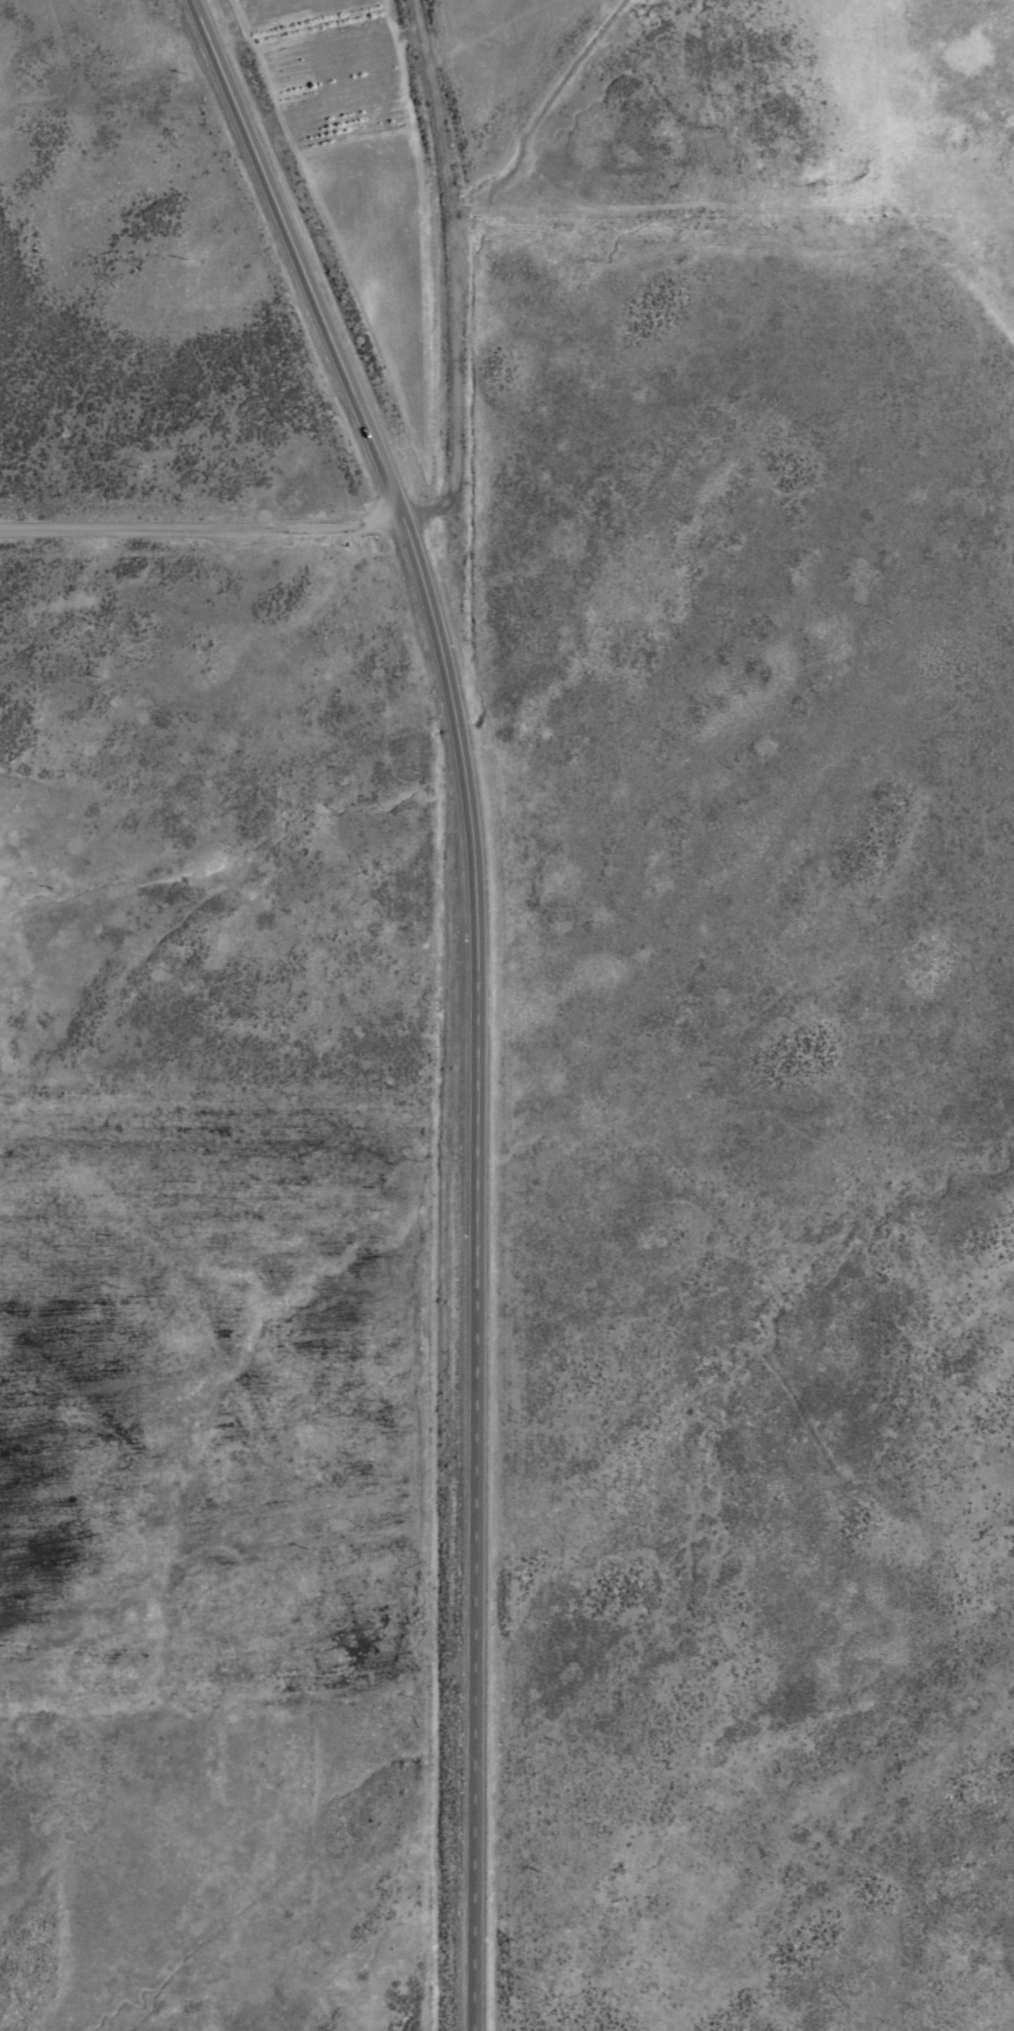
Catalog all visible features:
road: (474, 989)
crop: (509, 1097)

